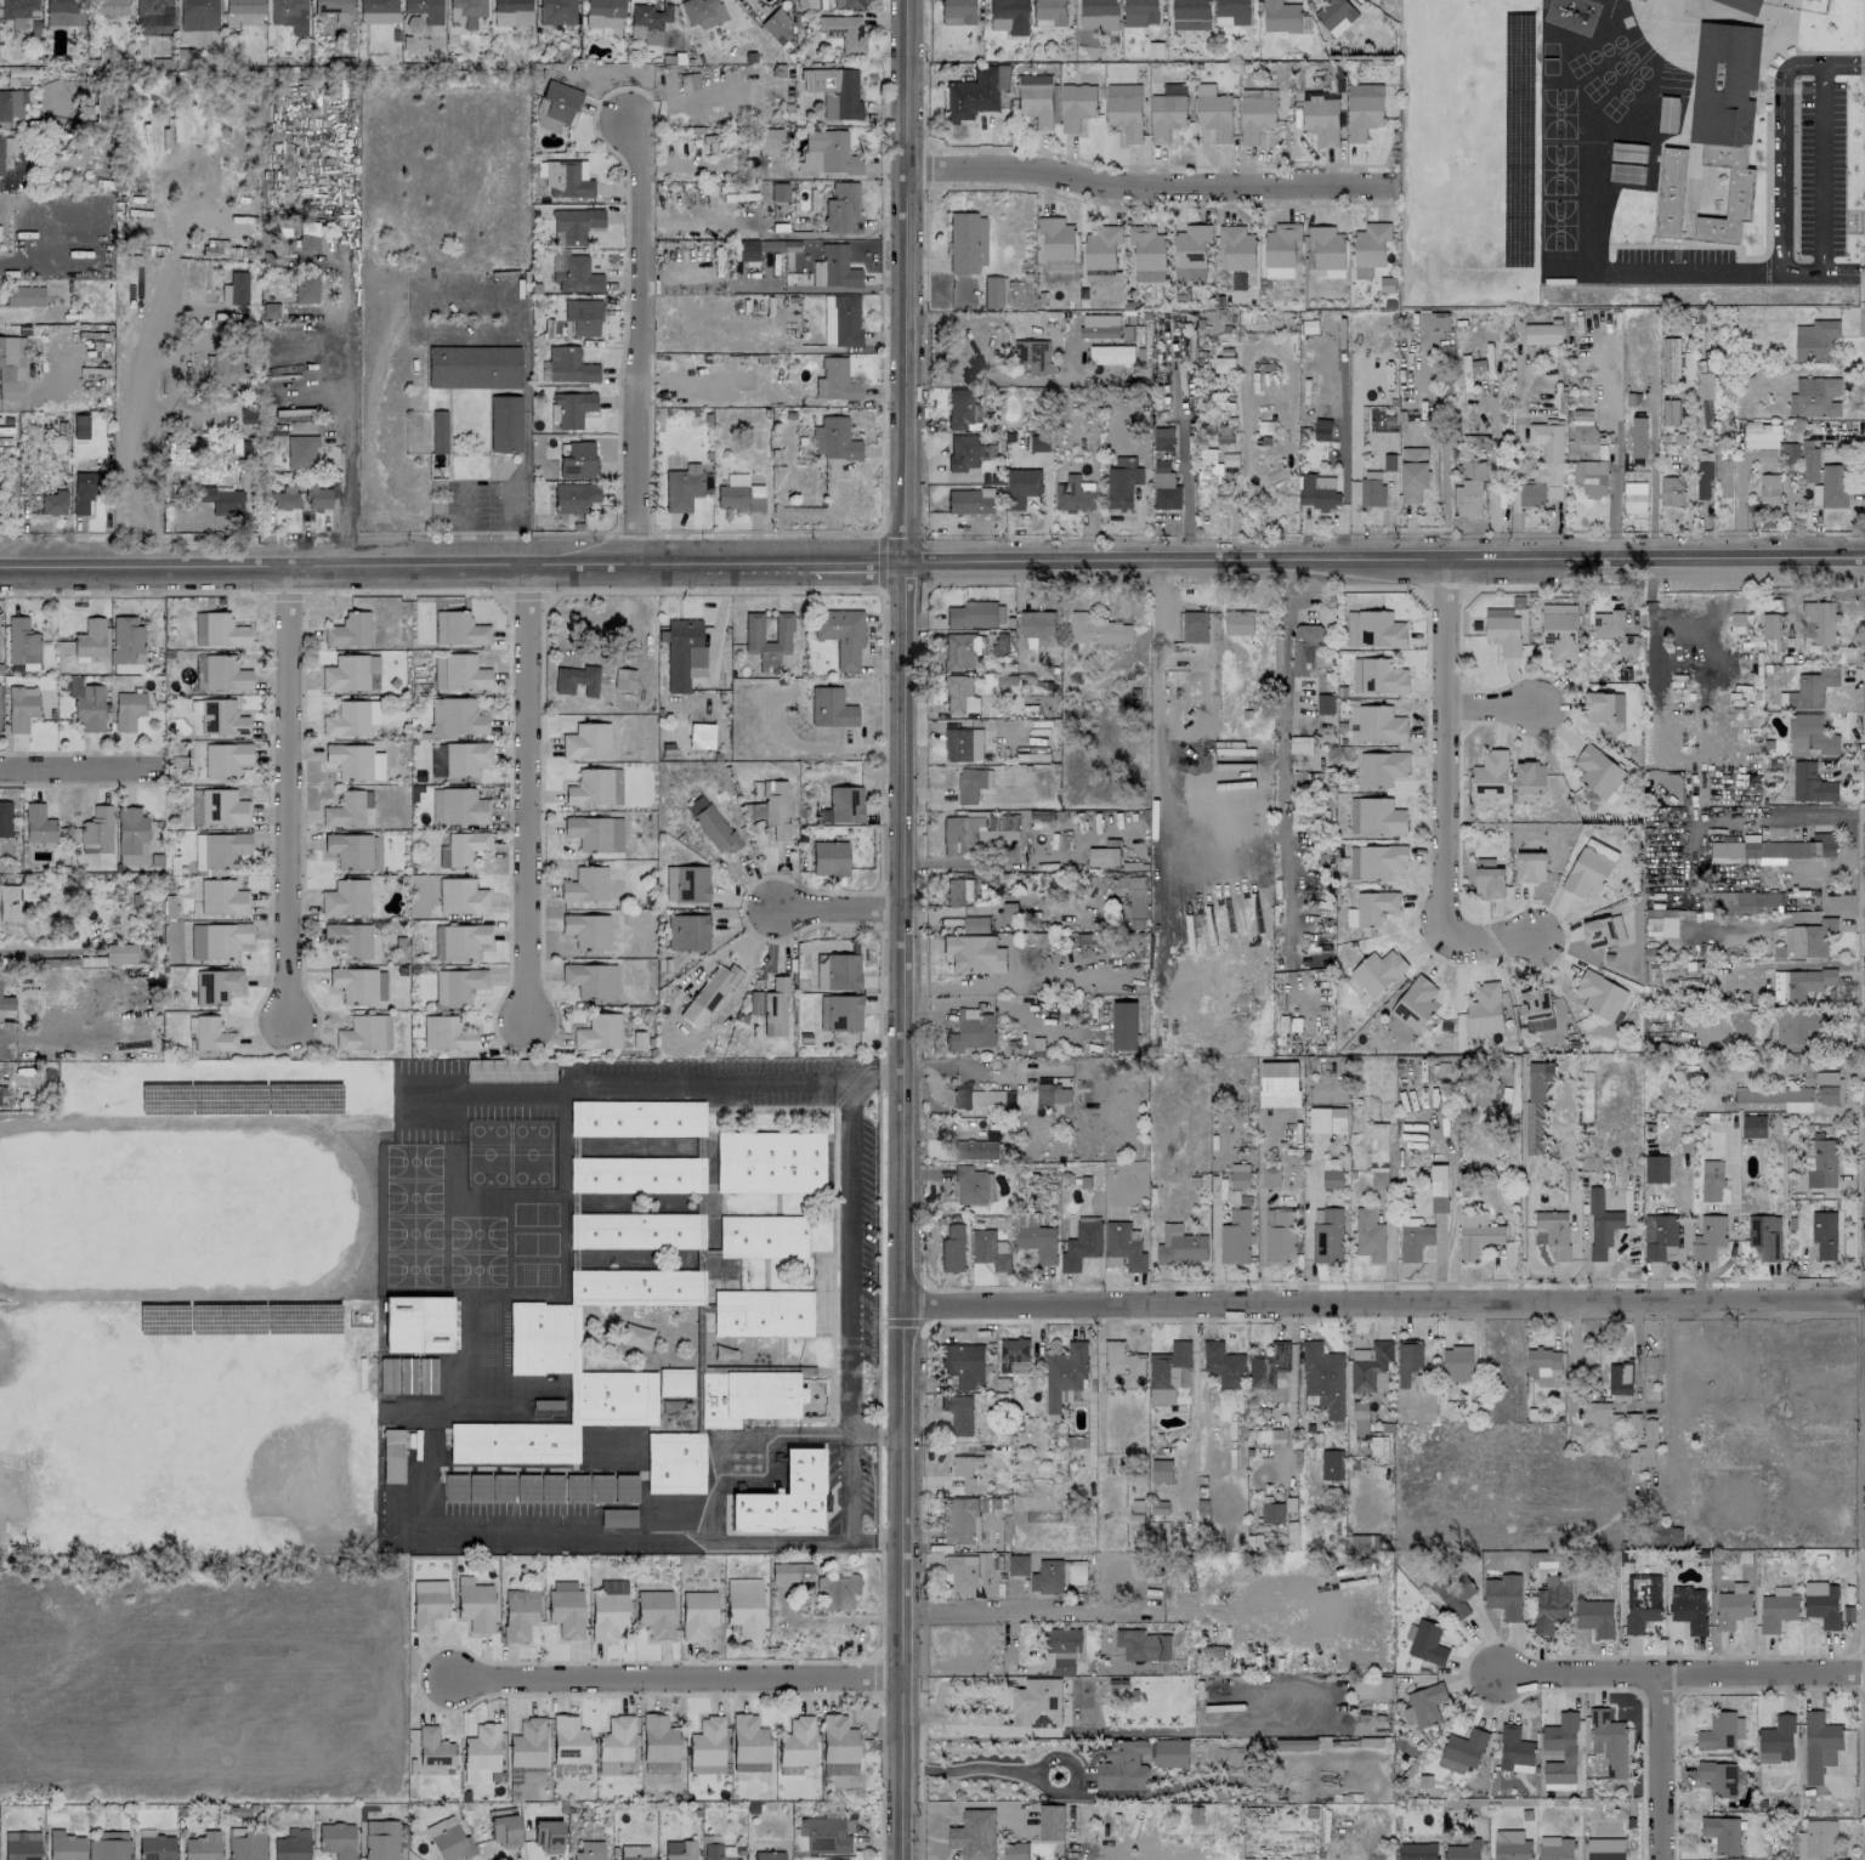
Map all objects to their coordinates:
building: (1644, 0)
building: (845, 4)
building: (1744, 5)
building: (108, 6)
building: (243, 6)
building: (333, 7)
building: (425, 8)
building: (958, 10)
building: (18, 11)
building: (379, 11)
building: (470, 11)
building: (556, 11)
building: (64, 12)
building: (511, 12)
building: (602, 12)
building: (702, 12)
building: (1049, 12)
building: (1140, 12)
building: (1231, 12)
building: (198, 15)
building: (289, 15)
building: (1099, 15)
building: (1190, 15)
building: (1336, 15)
building: (1008, 16)
building: (1281, 16)
building: (153, 17)
building: (651, 19)
building: (775, 25)
building: (844, 30)
building: (687, 81)
building: (752, 87)
building: (833, 91)
building: (974, 92)
building: (1036, 100)
road: (686, 101)
building: (13, 103)
building: (557, 104)
building: (1076, 104)
building: (1362, 109)
building: (1123, 110)
building: (1213, 112)
building: (1166, 113)
building: (1257, 115)
building: (1320, 117)
building: (1725, 117)
building: (770, 141)
building: (719, 142)
building: (827, 153)
parking lot: (1820, 168)
road: (1823, 168)
road: (1781, 172)
building: (567, 178)
road: (1146, 188)
building: (778, 191)
building: (1670, 192)
building: (843, 208)
building: (576, 222)
building: (307, 236)
building: (966, 242)
building: (1056, 243)
building: (772, 245)
building: (1102, 246)
building: (1147, 246)
building: (1191, 246)
building: (1237, 246)
building: (1370, 248)
building: (1281, 250)
building: (1327, 251)
road: (47, 261)
building: (835, 267)
road: (1697, 272)
building: (577, 276)
building: (1150, 276)
building: (1242, 278)
road: (905, 280)
building: (306, 287)
building: (234, 288)
building: (24, 295)
road: (410, 295)
road: (880, 299)
building: (582, 317)
building: (840, 319)
road: (966, 319)
building: (1542, 333)
building: (1815, 340)
road: (634, 342)
building: (1033, 356)
building: (1670, 359)
building: (12, 362)
building: (222, 363)
building: (569, 364)
building: (1224, 364)
building: (474, 367)
building: (835, 380)
building: (1815, 397)
building: (1705, 398)
building: (569, 408)
building: (962, 409)
building: (1670, 412)
road: (523, 413)
road: (344, 416)
road: (143, 419)
building: (504, 423)
building: (80, 425)
building: (1322, 430)
building: (438, 431)
building: (1215, 432)
building: (1761, 436)
building: (1637, 437)
building: (1163, 438)
building: (834, 440)
building: (1038, 443)
road: (374, 447)
building: (300, 450)
building: (966, 452)
road: (1616, 457)
building: (1543, 461)
building: (1809, 465)
road: (1650, 472)
building: (1412, 473)
building: (1206, 476)
building: (1704, 476)
building: (1591, 477)
building: (1723, 478)
building: (1122, 482)
building: (1833, 486)
building: (682, 487)
building: (1021, 487)
building: (1164, 487)
building: (1371, 488)
building: (1469, 488)
building: (1768, 488)
building: (84, 490)
building: (1671, 490)
road: (1186, 493)
building: (1320, 493)
building: (739, 494)
building: (1073, 494)
building: (285, 497)
building: (318, 497)
building: (574, 497)
building: (1634, 497)
building: (222, 500)
building: (53, 501)
building: (970, 501)
road: (465, 523)
road: (509, 523)
road: (879, 561)
road: (1388, 561)
road: (454, 567)
road: (284, 595)
road: (526, 595)
road: (1651, 612)
building: (975, 614)
building: (1770, 618)
building: (1237, 622)
building: (1820, 622)
building: (1036, 625)
building: (753, 626)
building: (1194, 626)
building: (458, 628)
building: (219, 629)
building: (1098, 629)
building: (1374, 629)
building: (348, 630)
building: (1502, 630)
building: (1559, 630)
building: (1614, 630)
building: (840, 634)
building: (90, 637)
building: (22, 641)
building: (126, 645)
road: (1704, 646)
building: (1306, 647)
building: (962, 650)
building: (684, 652)
building: (465, 671)
building: (225, 673)
building: (348, 673)
building: (438, 674)
building: (1355, 675)
building: (1382, 676)
building: (624, 679)
building: (577, 680)
building: (1812, 688)
building: (959, 697)
building: (86, 703)
building: (1325, 703)
building: (21, 707)
building: (1603, 707)
building: (831, 708)
road: (1493, 708)
building: (127, 709)
building: (435, 715)
building: (461, 716)
building: (219, 718)
building: (351, 718)
building: (1379, 724)
building: (701, 735)
building: (1809, 736)
road: (1280, 737)
building: (586, 741)
building: (963, 744)
road: (1444, 745)
building: (225, 758)
building: (465, 758)
building: (355, 760)
building: (436, 760)
road: (80, 765)
building: (1382, 767)
building: (1599, 773)
building: (1490, 775)
building: (1530, 777)
building: (971, 783)
building: (1812, 783)
building: (595, 787)
road: (527, 792)
road: (288, 795)
building: (845, 804)
building: (435, 805)
building: (219, 806)
building: (463, 806)
building: (347, 807)
building: (772, 807)
building: (1376, 816)
building: (5, 818)
building: (1309, 818)
building: (38, 823)
building: (710, 824)
building: (97, 827)
building: (981, 829)
building: (594, 832)
building: (131, 837)
building: (463, 847)
building: (223, 849)
building: (348, 850)
building: (1770, 850)
building: (198, 851)
building: (829, 857)
building: (1101, 857)
road: (879, 860)
building: (1381, 861)
building: (1353, 862)
building: (1530, 867)
building: (1588, 868)
building: (1489, 879)
building: (686, 883)
building: (585, 884)
building: (958, 891)
building: (461, 896)
building: (222, 897)
building: (346, 897)
building: (8, 902)
building: (1136, 902)
road: (844, 903)
building: (1371, 908)
building: (1659, 924)
building: (975, 925)
building: (588, 930)
building: (687, 931)
building: (1603, 931)
building: (350, 938)
building: (1813, 938)
building: (217, 940)
building: (459, 940)
road: (1490, 945)
road: (30, 951)
building: (119, 953)
building: (974, 953)
road: (270, 962)
building: (837, 971)
building: (1377, 971)
building: (586, 979)
building: (359, 983)
building: (458, 985)
building: (216, 986)
building: (714, 987)
building: (1599, 994)
road: (499, 998)
building: (6, 1002)
building: (1415, 1004)
building: (771, 1006)
building: (1485, 1009)
building: (1536, 1009)
building: (840, 1011)
building: (1799, 1023)
building: (1123, 1025)
building: (1742, 1025)
building: (971, 1031)
building: (599, 1032)
building: (211, 1033)
building: (361, 1033)
building: (447, 1033)
building: (1538, 1081)
road: (852, 1083)
building: (1279, 1084)
building: (1829, 1087)
building: (2, 1090)
building: (1776, 1096)
building: (979, 1098)
building: (636, 1117)
building: (1327, 1119)
building: (1753, 1127)
building: (1532, 1145)
building: (975, 1150)
building: (1379, 1150)
building: (770, 1162)
building: (1823, 1163)
building: (1655, 1169)
building: (636, 1173)
building: (1331, 1173)
building: (1238, 1175)
building: (1270, 1178)
building: (1711, 1180)
building: (973, 1185)
park: (154, 1208)
road: (905, 1212)
building: (1600, 1224)
road: (848, 1227)
building: (635, 1230)
building: (1554, 1231)
building: (1280, 1234)
building: (1824, 1234)
building: (1326, 1235)
building: (1368, 1235)
building: (763, 1236)
building: (1476, 1236)
building: (1659, 1236)
building: (1764, 1236)
building: (1235, 1237)
building: (1710, 1237)
building: (1413, 1238)
building: (1037, 1240)
building: (1124, 1244)
building: (1081, 1246)
building: (1180, 1246)
building: (952, 1248)
building: (990, 1249)
building: (636, 1287)
road: (1384, 1300)
road: (879, 1305)
building: (761, 1312)
road: (901, 1322)
building: (416, 1323)
road: (852, 1345)
building: (1014, 1355)
building: (1407, 1360)
building: (1542, 1362)
building: (964, 1363)
building: (1457, 1363)
building: (1224, 1365)
building: (1122, 1366)
building: (1269, 1366)
building: (1371, 1367)
road: (849, 1371)
road: (871, 1371)
building: (1169, 1372)
building: (1323, 1378)
building: (674, 1382)
building: (1620, 1382)
building: (747, 1396)
road: (1651, 1407)
building: (958, 1413)
building: (1599, 1414)
building: (1632, 1423)
park: (186, 1427)
road: (852, 1436)
road: (875, 1436)
building: (1644, 1447)
building: (392, 1454)
road: (1671, 1456)
building: (674, 1462)
building: (1331, 1464)
building: (965, 1469)
building: (1161, 1470)
road: (877, 1485)
building: (539, 1487)
building: (783, 1498)
building: (1272, 1512)
road: (848, 1515)
building: (617, 1516)
building: (962, 1520)
building: (1666, 1537)
road: (878, 1538)
building: (1356, 1543)
building: (1017, 1564)
building: (792, 1571)
building: (960, 1575)
building: (1047, 1577)
building: (837, 1590)
building: (1455, 1593)
building: (1503, 1595)
building: (1642, 1601)
building: (429, 1603)
building: (1552, 1603)
building: (1823, 1603)
building: (475, 1604)
building: (743, 1605)
building: (1733, 1606)
building: (1689, 1607)
building: (608, 1610)
building: (1776, 1611)
building: (566, 1612)
building: (654, 1612)
road: (1047, 1612)
building: (518, 1614)
building: (697, 1614)
building: (1594, 1617)
building: (1062, 1640)
building: (1427, 1643)
building: (1143, 1645)
building: (1062, 1666)
road: (676, 1679)
road: (1679, 1680)
building: (1371, 1686)
building: (1038, 1702)
building: (1424, 1705)
road: (957, 1722)
building: (1721, 1731)
building: (658, 1739)
building: (1776, 1740)
building: (1609, 1741)
building: (527, 1743)
building: (614, 1743)
building: (748, 1743)
building: (569, 1745)
building: (795, 1745)
building: (1820, 1745)
building: (705, 1746)
building: (838, 1746)
building: (433, 1748)
building: (1514, 1750)
building: (1462, 1751)
building: (481, 1752)
building: (1172, 1753)
building: (1559, 1753)
road: (1054, 1759)
building: (662, 1765)
building: (1122, 1765)
road: (970, 1768)
road: (1661, 1771)
building: (1718, 1777)
road: (1162, 1790)
road: (969, 1805)
building: (1050, 1822)
building: (505, 1830)
building: (1722, 1833)
building: (824, 1835)
building: (974, 1835)
building: (549, 1836)
building: (336, 1839)
building: (381, 1839)
building: (1815, 1839)
building: (452, 1843)
building: (291, 1844)
building: (22, 1845)
building: (66, 1845)
building: (108, 1845)
building: (202, 1845)
building: (246, 1845)
building: (155, 1847)
building: (1512, 1847)
building: (1554, 1848)
building: (1604, 1849)
building: (590, 1850)
building: (680, 1850)
building: (1015, 1850)
building: (1464, 1850)
building: (634, 1852)
building: (718, 1852)
building: (1417, 1852)
building: (769, 1855)
road: (1081, 1859)

